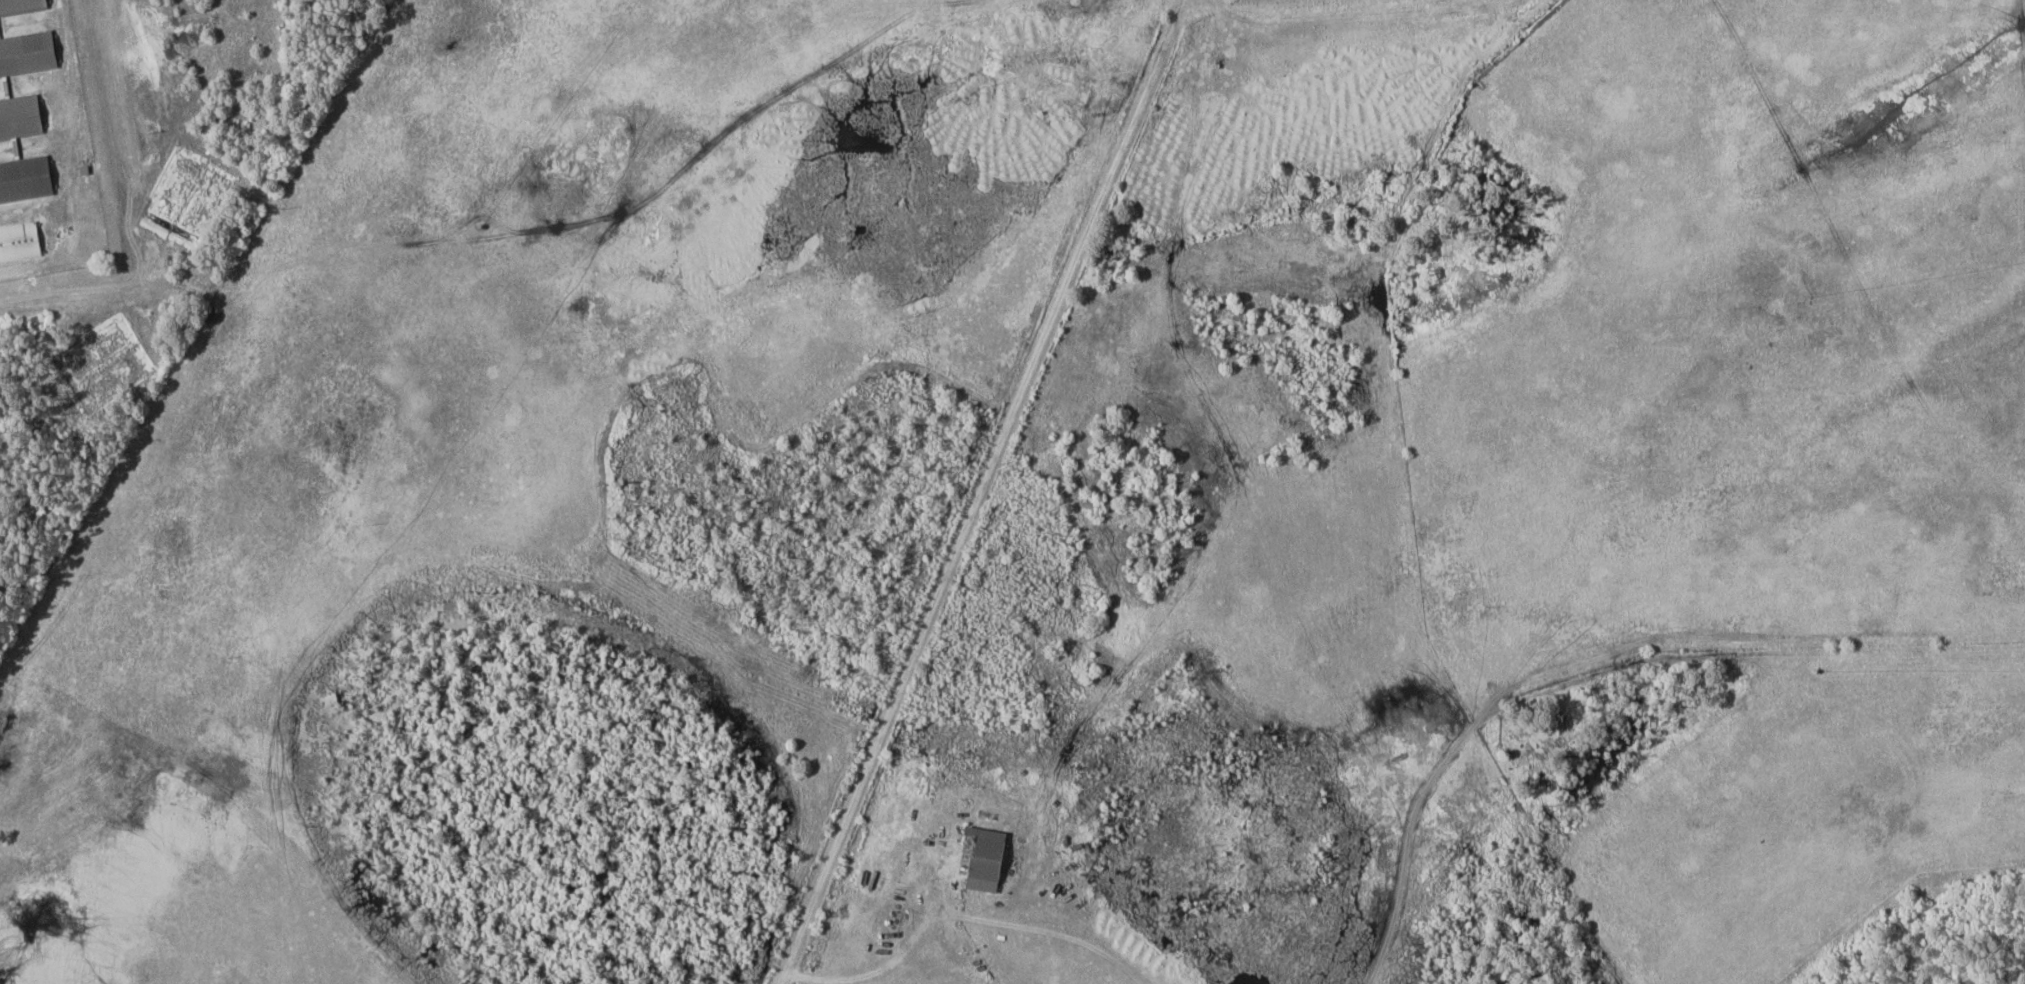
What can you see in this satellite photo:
building: (21, 6)
building: (19, 113)
building: (19, 242)
building: (984, 858)

